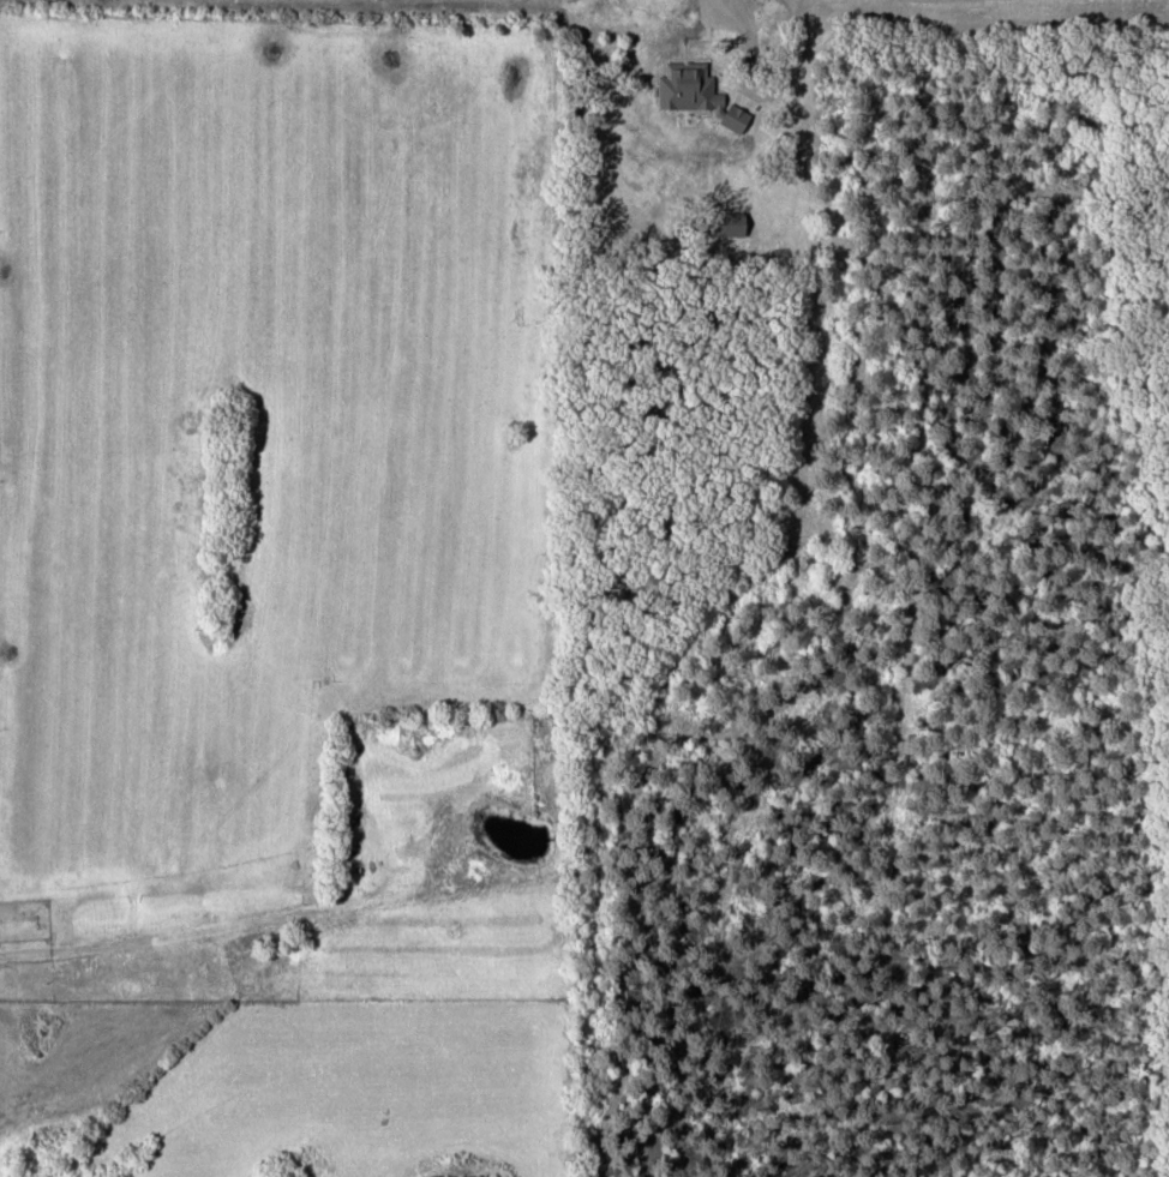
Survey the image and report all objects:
road: (7, 788)

